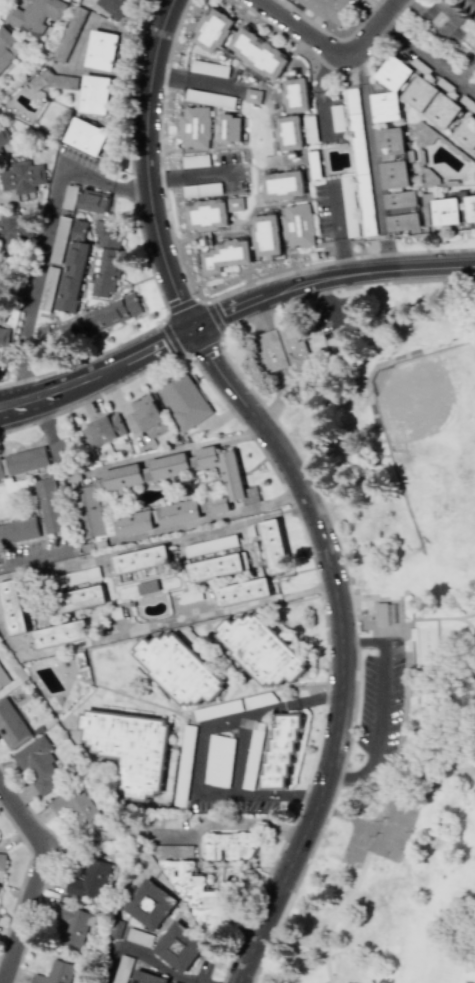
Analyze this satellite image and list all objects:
building: (114, 6)
building: (468, 6)
building: (330, 9)
building: (35, 15)
building: (445, 18)
building: (212, 30)
building: (6, 47)
building: (102, 50)
road: (333, 52)
building: (258, 54)
road: (428, 58)
building: (209, 68)
building: (54, 80)
building: (394, 84)
building: (420, 93)
building: (96, 94)
road: (320, 94)
building: (295, 95)
building: (253, 96)
building: (210, 98)
building: (443, 110)
building: (195, 127)
building: (230, 128)
building: (310, 128)
building: (466, 132)
building: (289, 133)
building: (424, 135)
building: (86, 136)
building: (4, 137)
building: (358, 140)
building: (394, 158)
road: (372, 160)
road: (149, 164)
building: (470, 175)
building: (22, 177)
building: (283, 185)
building: (69, 197)
building: (93, 200)
building: (235, 204)
building: (454, 210)
building: (403, 211)
building: (207, 215)
building: (298, 225)
road: (338, 228)
building: (16, 231)
building: (267, 235)
road: (45, 240)
building: (226, 255)
building: (107, 258)
building: (73, 267)
road: (330, 277)
building: (9, 286)
building: (113, 313)
building: (60, 335)
building: (4, 337)
building: (282, 349)
road: (99, 375)
building: (184, 401)
building: (149, 417)
building: (104, 429)
road: (48, 437)
road: (176, 449)
building: (27, 459)
building: (170, 464)
building: (123, 475)
building: (226, 479)
building: (50, 504)
building: (181, 510)
building: (89, 511)
road: (213, 515)
building: (134, 521)
building: (19, 529)
building: (211, 544)
road: (70, 545)
building: (274, 546)
building: (142, 557)
building: (218, 564)
road: (0, 565)
building: (148, 585)
building: (243, 591)
building: (78, 599)
building: (14, 605)
road: (227, 609)
building: (381, 614)
park: (387, 621)
building: (62, 633)
road: (344, 644)
building: (260, 649)
building: (179, 667)
building: (3, 679)
road: (380, 709)
building: (12, 725)
building: (256, 734)
road: (199, 747)
building: (129, 749)
building: (281, 751)
road: (238, 756)
building: (219, 760)
building: (40, 765)
building: (75, 805)
road: (231, 822)
building: (232, 846)
building: (2, 862)
road: (35, 878)
building: (91, 881)
building: (195, 893)
building: (145, 909)
building: (74, 924)
building: (178, 948)
road: (144, 956)
building: (122, 969)
building: (56, 973)
building: (147, 978)

